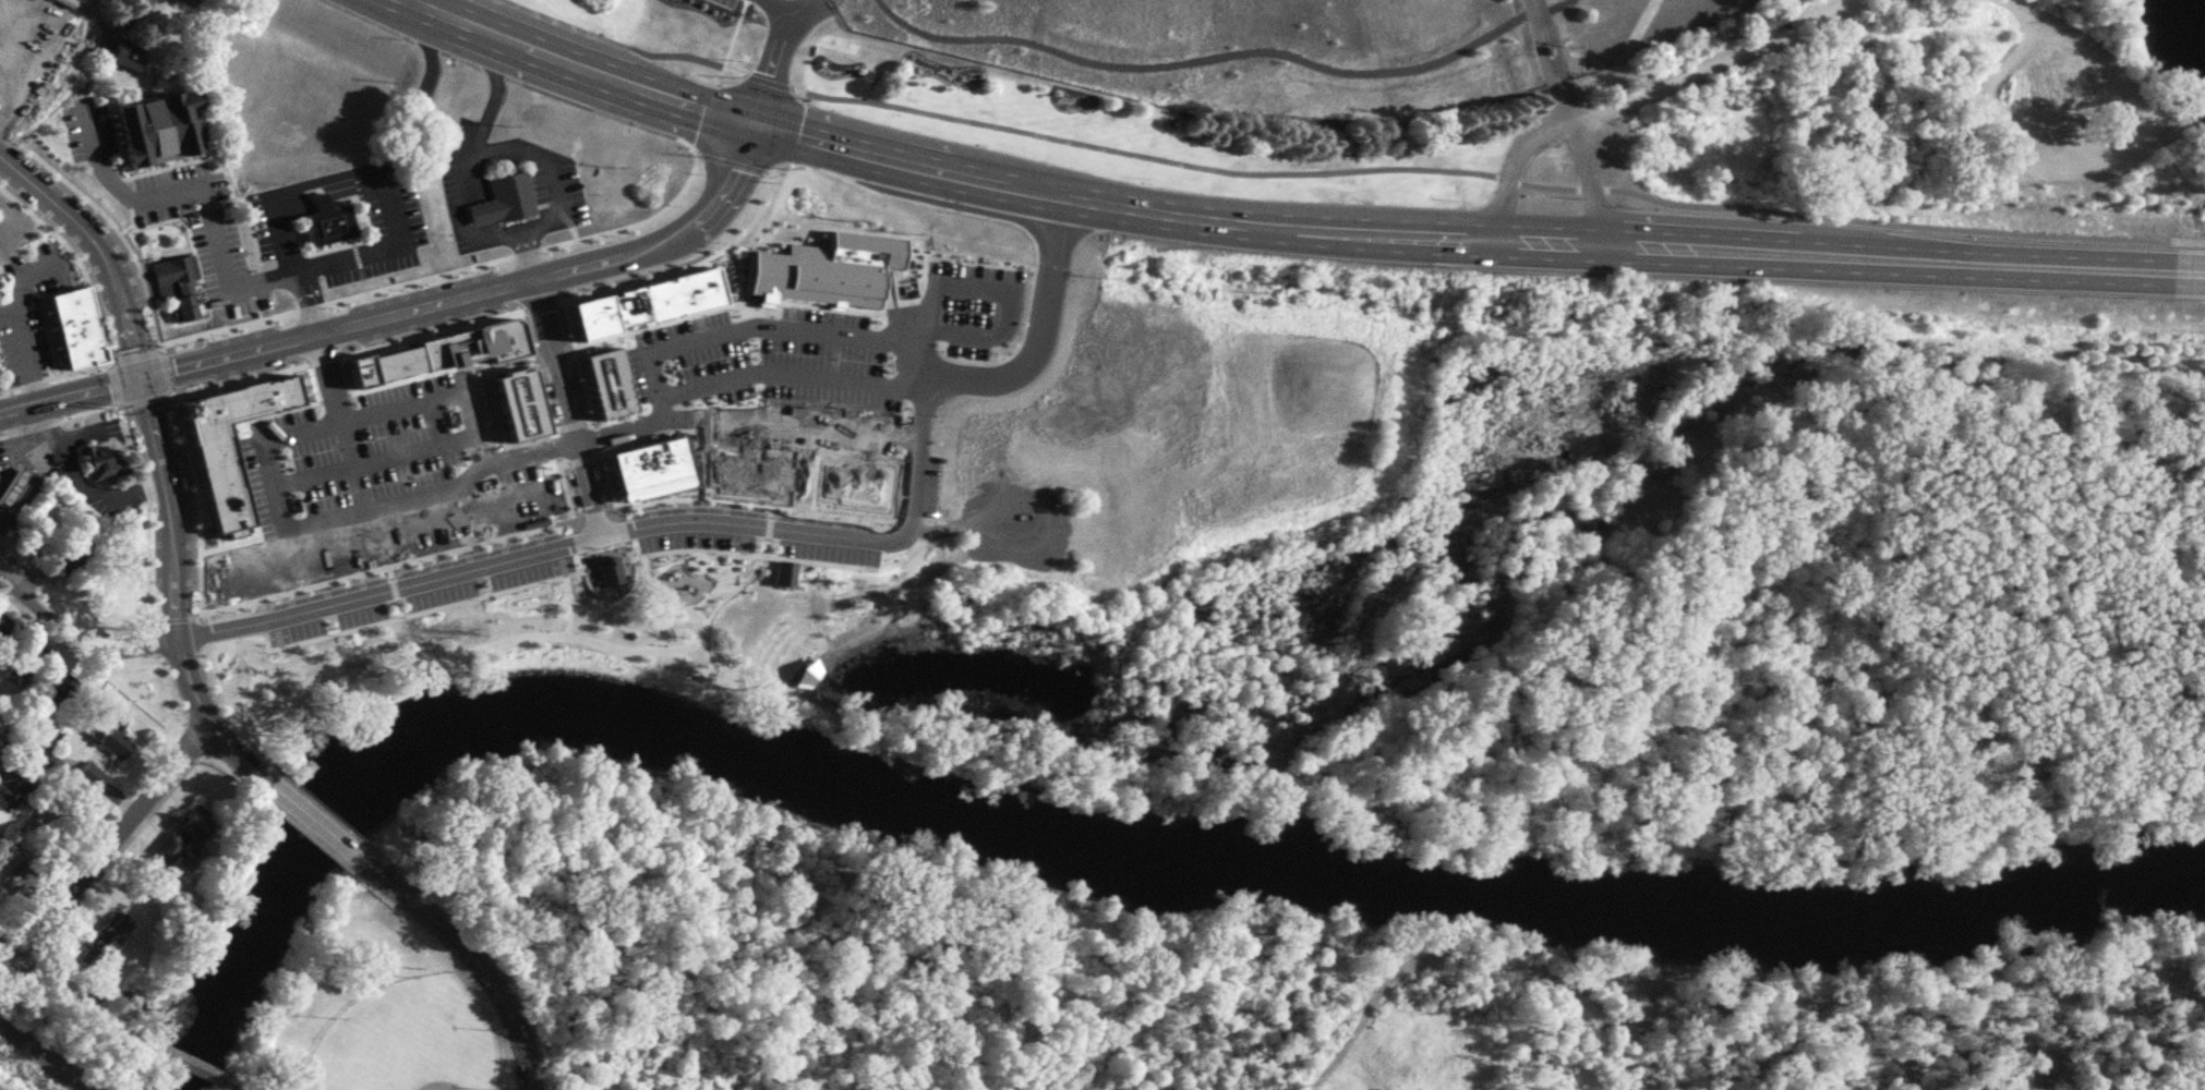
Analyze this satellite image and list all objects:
road: (781, 9)
building: (1152, 11)
road: (1541, 17)
road: (732, 41)
road: (2083, 43)
road: (625, 45)
parking lot: (31, 46)
road: (775, 52)
road: (2136, 53)
building: (123, 55)
road: (1708, 62)
road: (496, 74)
road: (1555, 78)
road: (769, 81)
road: (424, 90)
road: (708, 118)
traffic signals: (751, 122)
building: (161, 125)
parking lot: (88, 129)
road: (686, 144)
road: (2016, 153)
road: (97, 155)
road: (731, 160)
road: (1509, 163)
road: (1477, 173)
road: (992, 178)
road: (1590, 178)
road: (327, 181)
road: (332, 198)
building: (505, 199)
road: (391, 204)
road: (32, 213)
parking lot: (196, 216)
road: (110, 218)
parking lot: (266, 223)
building: (327, 223)
road: (637, 223)
parking lot: (384, 233)
road: (479, 239)
road: (2185, 241)
road: (528, 250)
road: (527, 253)
road: (74, 255)
road: (1900, 257)
road: (691, 259)
road: (290, 264)
road: (409, 271)
building: (832, 271)
road: (420, 279)
building: (176, 284)
road: (229, 286)
road: (14, 300)
road: (540, 304)
building: (649, 304)
road: (406, 306)
road: (312, 307)
road: (41, 312)
road: (1009, 315)
road: (95, 318)
building: (708, 326)
road: (225, 327)
road: (430, 329)
building: (76, 330)
road: (731, 331)
road: (134, 351)
road: (323, 354)
building: (444, 359)
road: (80, 367)
road: (165, 370)
parking lot: (830, 371)
road: (137, 373)
road: (534, 373)
road: (234, 376)
traffic signals: (138, 377)
road: (32, 380)
road: (113, 384)
road: (931, 384)
road: (9, 387)
building: (607, 388)
road: (143, 400)
road: (567, 404)
building: (519, 409)
road: (61, 421)
road: (339, 421)
road: (792, 421)
building: (393, 422)
road: (920, 428)
building: (164, 433)
road: (13, 441)
building: (231, 445)
building: (250, 445)
road: (32, 446)
road: (553, 448)
road: (266, 449)
road: (529, 452)
parking lot: (375, 456)
road: (375, 459)
building: (841, 460)
building: (96, 461)
building: (651, 471)
building: (747, 476)
building: (535, 477)
building: (11, 482)
road: (76, 483)
building: (850, 491)
road: (196, 501)
road: (147, 517)
parking lot: (755, 533)
road: (542, 550)
building: (73, 554)
road: (412, 560)
road: (15, 579)
building: (658, 582)
building: (716, 585)
parking lot: (415, 588)
building: (146, 589)
building: (615, 592)
road: (73, 593)
road: (174, 618)
road: (202, 632)
road: (156, 644)
building: (212, 644)
road: (93, 650)
building: (22, 661)
road: (431, 661)
road: (89, 665)
road: (168, 688)
building: (59, 690)
road: (227, 697)
road: (209, 718)
building: (109, 729)
road: (194, 738)
building: (26, 749)
building: (88, 773)
road: (172, 782)
building: (16, 785)
road: (56, 798)
road: (318, 804)
road: (293, 824)
road: (317, 825)
building: (180, 836)
road: (116, 837)
river: (1093, 847)
road: (369, 884)
road: (16, 925)
road: (7, 946)
road: (474, 960)
road: (76, 997)
park: (369, 1008)
road: (267, 1042)
railway: (32, 1050)
road: (179, 1062)
building: (205, 1073)
park: (2160, 1076)
railway: (71, 1083)
road: (230, 1085)

